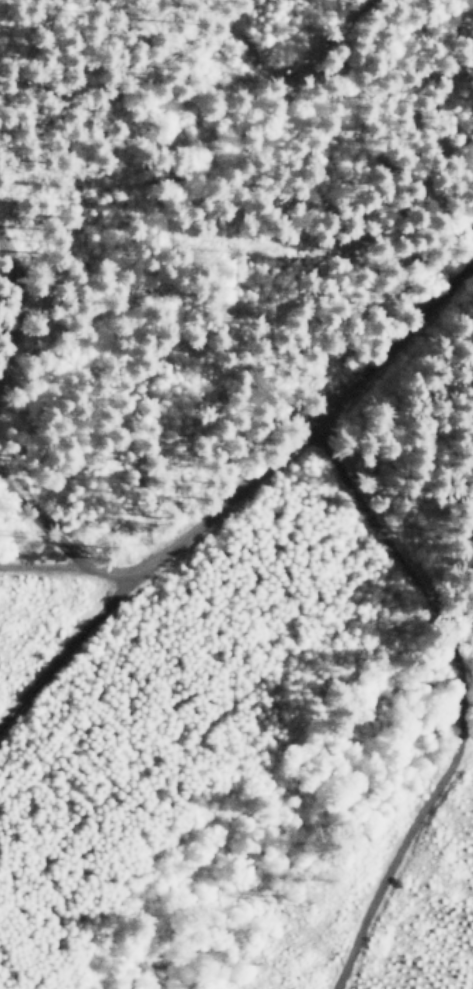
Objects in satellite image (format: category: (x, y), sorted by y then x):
crop: (170, 56)
road: (11, 305)
road: (247, 487)
road: (91, 565)
road: (89, 631)
road: (467, 705)

